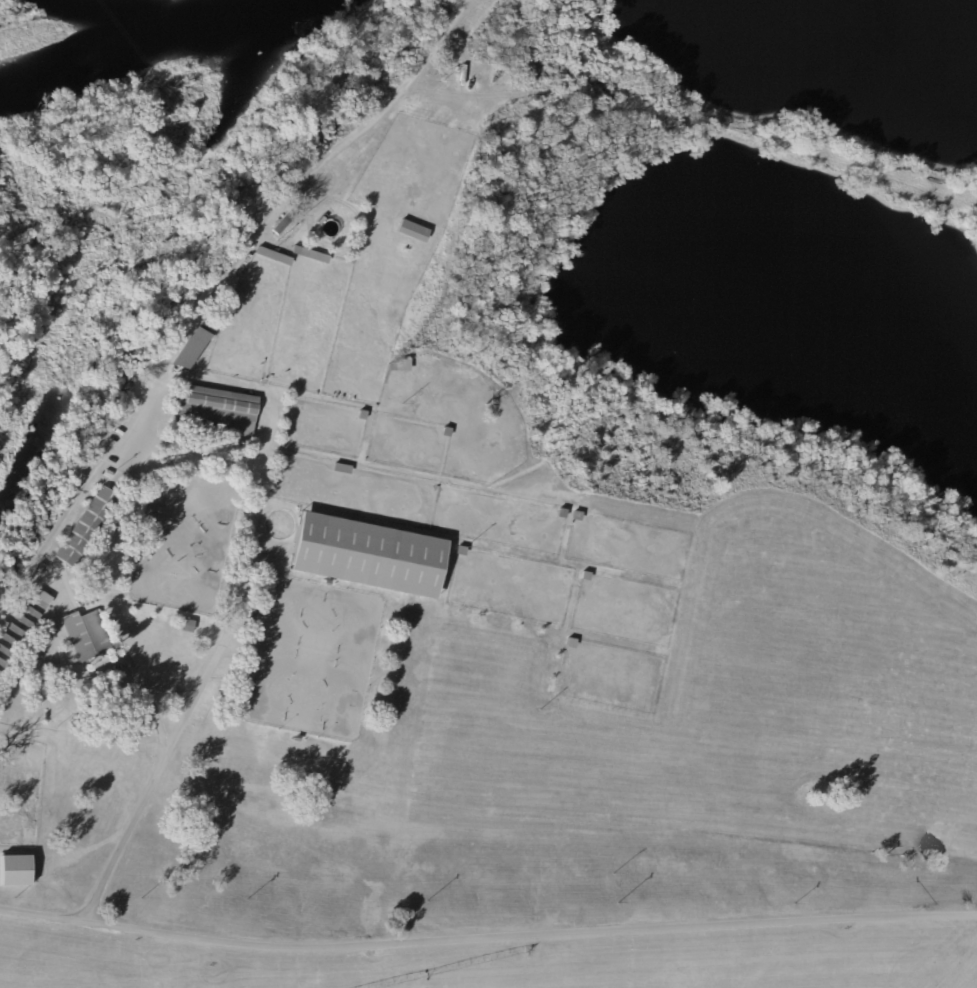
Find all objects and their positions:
river: (145, 51)
building: (283, 223)
building: (411, 232)
building: (296, 251)
building: (272, 256)
building: (255, 262)
road: (217, 289)
building: (239, 289)
building: (214, 322)
building: (190, 349)
building: (391, 368)
building: (215, 412)
building: (361, 416)
building: (445, 433)
building: (340, 470)
building: (108, 475)
building: (561, 514)
building: (576, 517)
building: (87, 528)
building: (358, 550)
building: (460, 552)
road: (107, 559)
building: (39, 569)
building: (37, 600)
building: (255, 606)
building: (27, 611)
building: (251, 616)
building: (20, 620)
building: (186, 628)
building: (14, 630)
building: (83, 638)
building: (9, 641)
road: (222, 641)
building: (5, 654)
building: (2, 664)
building: (238, 676)
road: (172, 691)
building: (104, 712)
road: (155, 726)
building: (72, 727)
building: (294, 741)
crop: (716, 745)
crop: (307, 814)
building: (14, 870)
road: (487, 937)
building: (530, 951)
crop: (508, 961)

